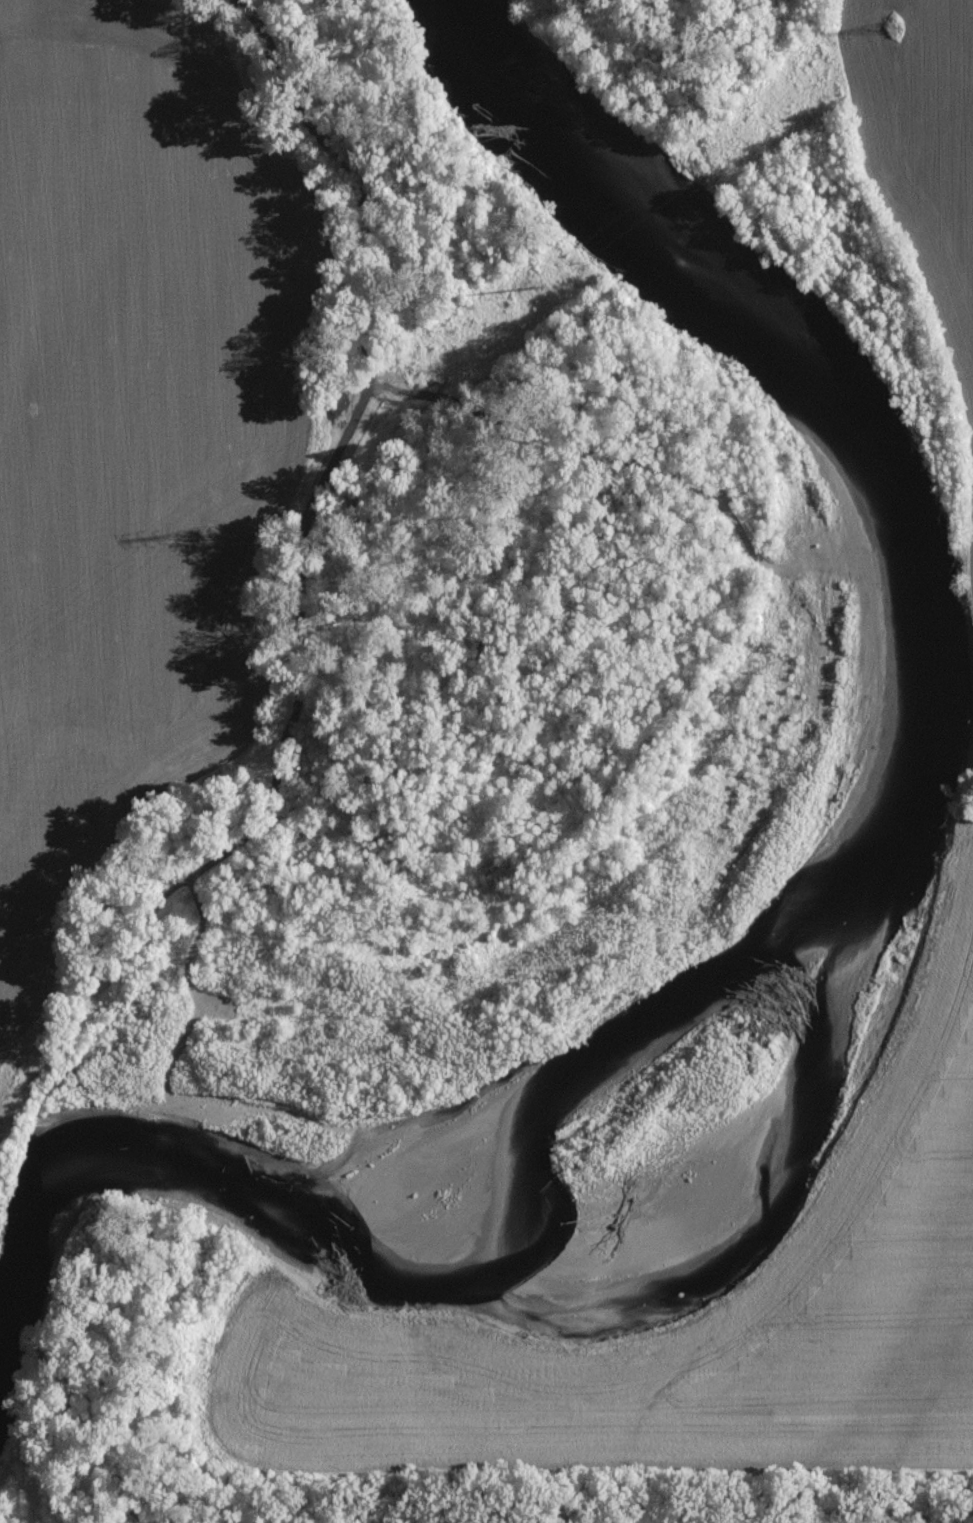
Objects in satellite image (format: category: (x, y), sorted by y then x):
power tower: (891, 27)
power tower: (557, 263)
power tower: (211, 521)
river: (854, 874)

